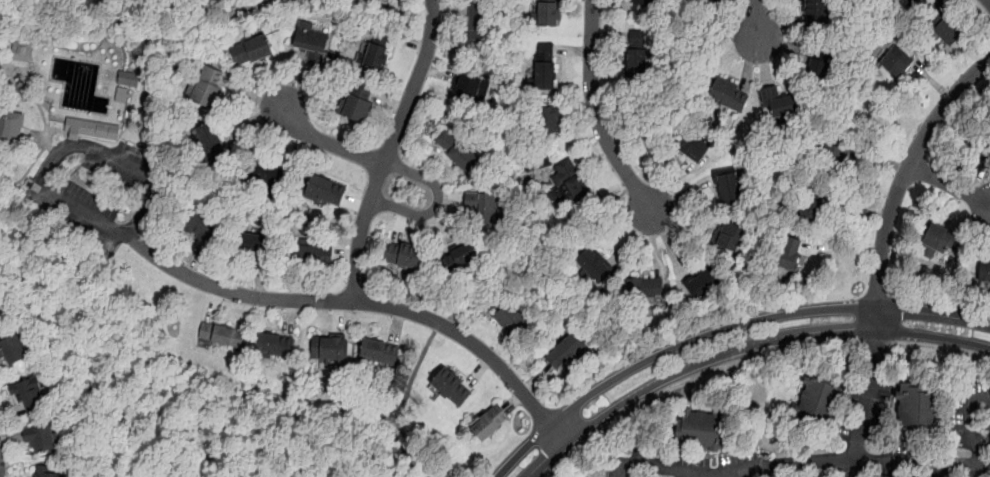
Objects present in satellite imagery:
building: (364, 0)
building: (370, 0)
building: (402, 0)
building: (709, 0)
road: (989, 0)
building: (645, 2)
building: (910, 3)
road: (450, 8)
building: (816, 12)
building: (545, 13)
road: (756, 19)
building: (476, 23)
building: (946, 30)
road: (609, 35)
building: (311, 39)
road: (410, 40)
road: (135, 46)
building: (250, 49)
building: (22, 50)
building: (375, 50)
road: (573, 50)
building: (635, 52)
building: (897, 58)
building: (820, 63)
building: (543, 66)
road: (437, 72)
building: (128, 78)
road: (676, 79)
road: (264, 84)
road: (301, 87)
building: (205, 88)
building: (469, 90)
building: (121, 94)
road: (251, 95)
building: (727, 96)
road: (30, 98)
road: (388, 100)
building: (779, 101)
building: (356, 102)
road: (577, 105)
road: (595, 111)
building: (548, 118)
road: (250, 123)
building: (10, 126)
building: (91, 128)
building: (209, 141)
road: (328, 142)
building: (690, 143)
road: (50, 146)
building: (979, 148)
road: (291, 149)
road: (388, 149)
building: (456, 150)
road: (590, 152)
building: (845, 158)
road: (428, 161)
road: (50, 167)
road: (906, 171)
building: (268, 172)
building: (567, 182)
road: (669, 182)
building: (727, 184)
road: (950, 184)
building: (322, 188)
parking lot: (98, 189)
road: (682, 195)
road: (450, 199)
road: (353, 201)
road: (436, 202)
building: (811, 202)
building: (484, 206)
road: (681, 222)
building: (202, 224)
road: (399, 227)
road: (437, 234)
building: (727, 235)
road: (630, 237)
building: (939, 237)
road: (655, 242)
road: (669, 244)
building: (257, 248)
building: (792, 252)
road: (344, 254)
building: (400, 254)
building: (311, 256)
building: (458, 256)
road: (545, 259)
building: (592, 265)
building: (984, 270)
building: (705, 279)
road: (260, 282)
building: (644, 288)
road: (364, 302)
road: (214, 305)
building: (1, 309)
road: (290, 316)
road: (337, 318)
building: (512, 321)
road: (397, 325)
road: (442, 325)
road: (722, 330)
building: (221, 334)
building: (274, 345)
road: (877, 345)
road: (500, 347)
road: (743, 347)
building: (15, 348)
road: (941, 348)
building: (380, 350)
building: (566, 350)
building: (330, 351)
road: (479, 372)
road: (413, 374)
road: (537, 378)
road: (692, 378)
road: (153, 383)
building: (450, 388)
road: (866, 392)
building: (29, 396)
road: (513, 401)
building: (818, 401)
building: (917, 410)
road: (969, 412)
building: (488, 421)
building: (702, 429)
road: (986, 438)
building: (41, 439)
road: (980, 459)
road: (826, 461)
building: (44, 472)

